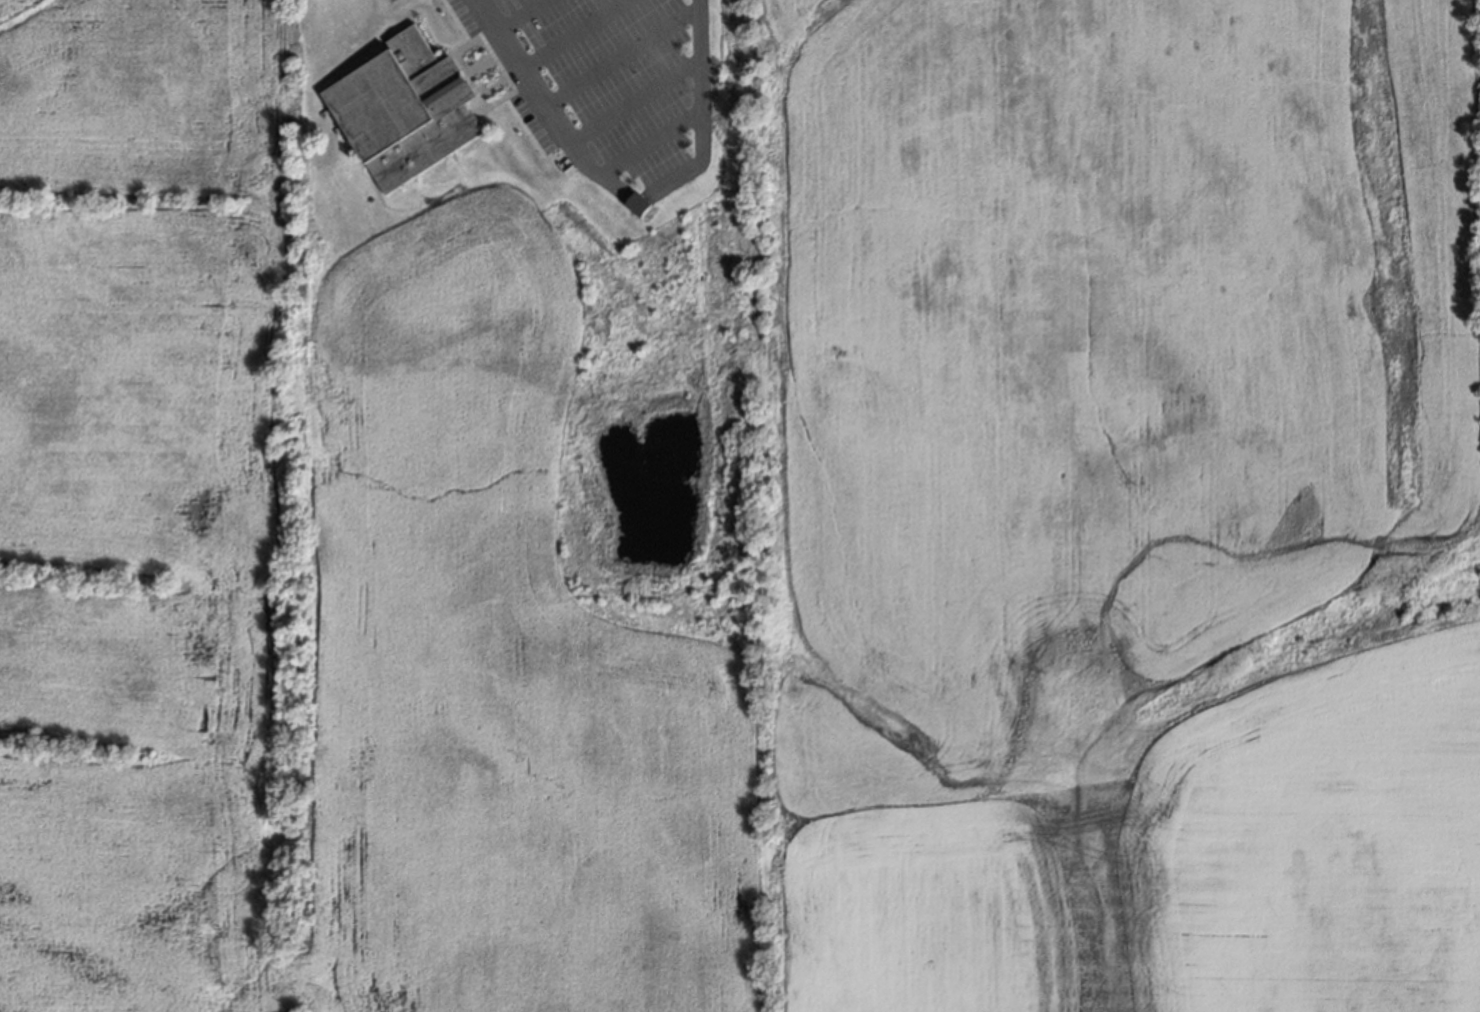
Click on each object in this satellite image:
building: (404, 106)
road: (607, 170)
building: (638, 204)

